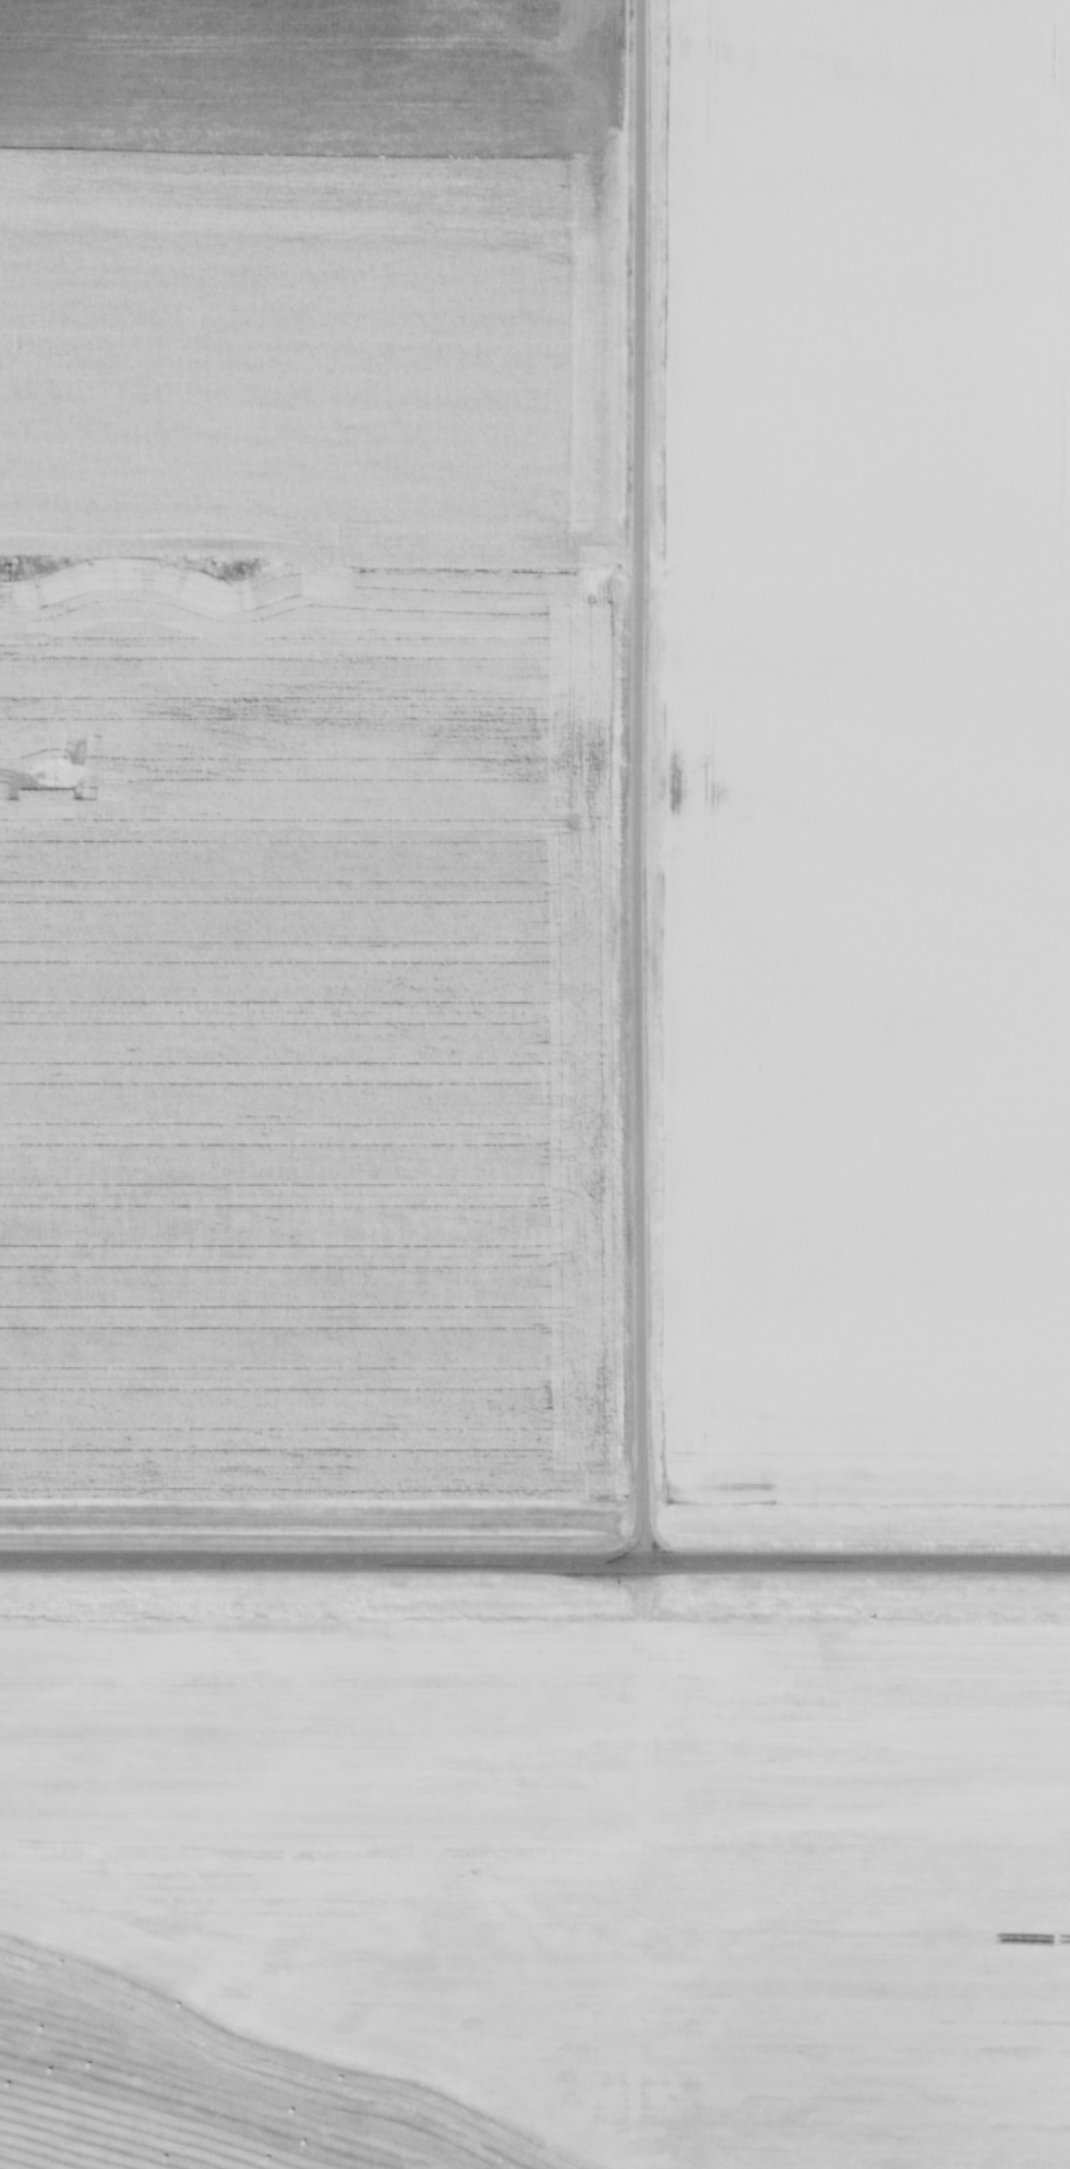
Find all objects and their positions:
road: (638, 784)
road: (534, 1569)

